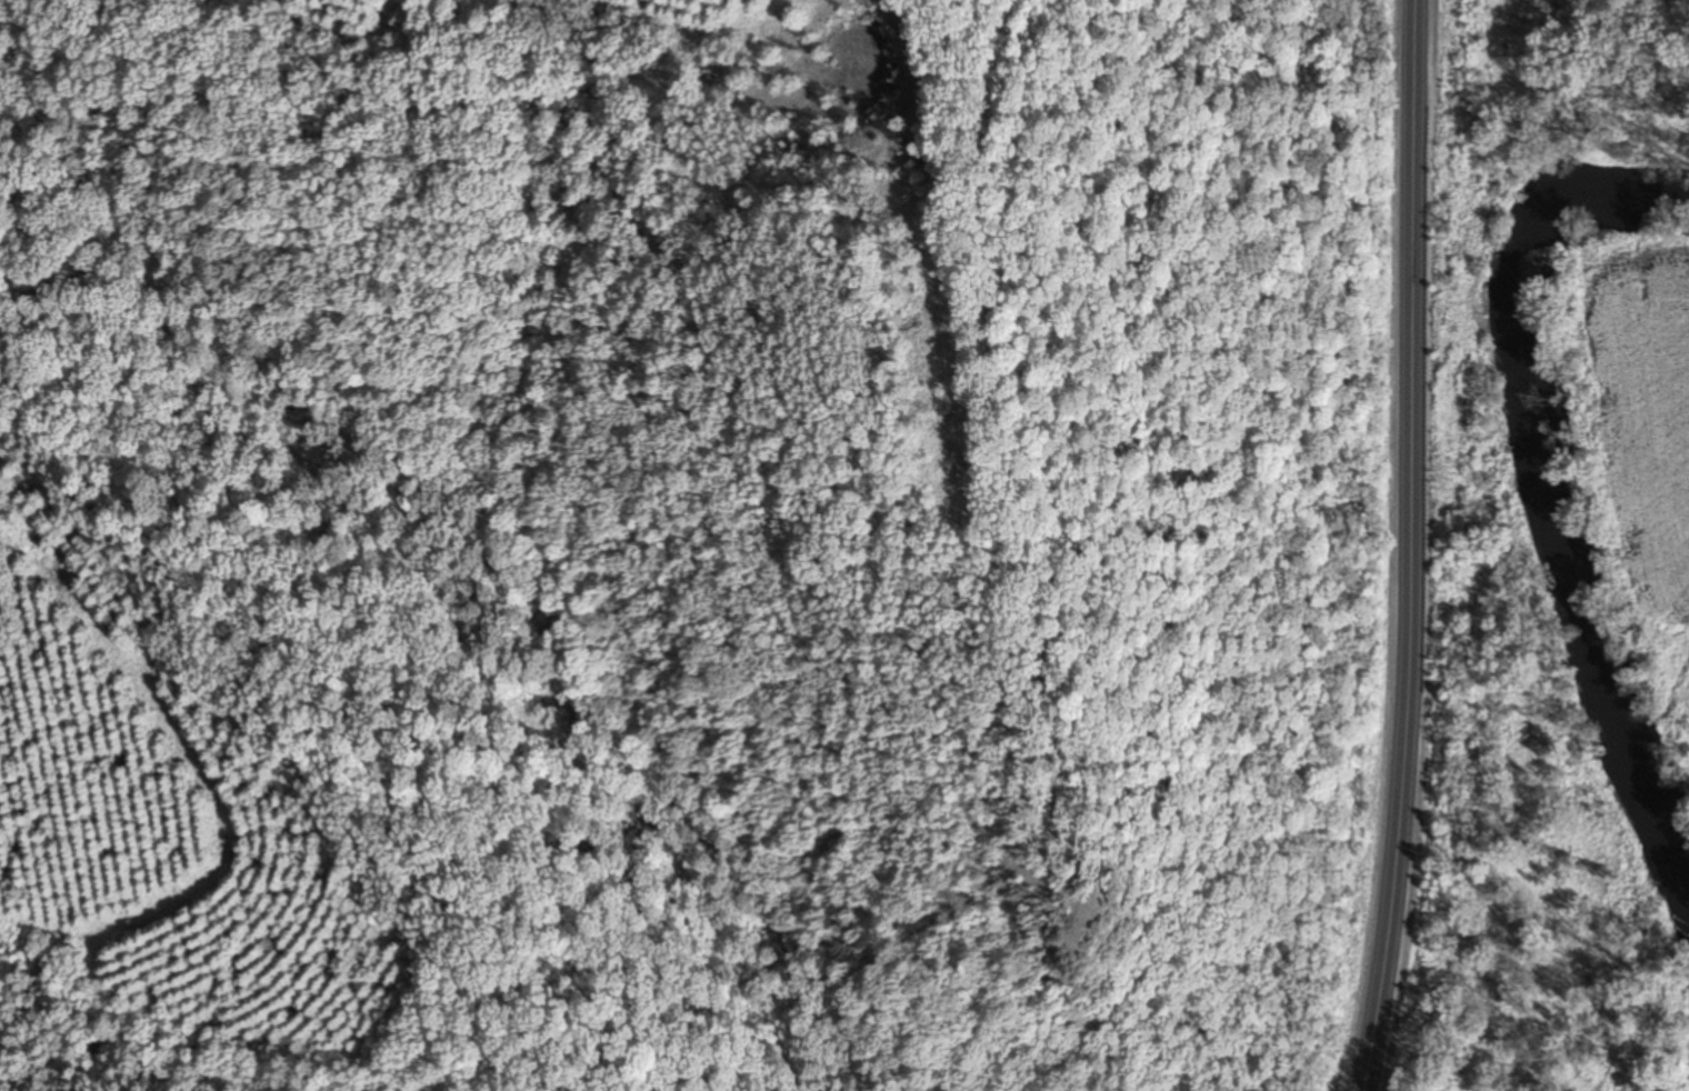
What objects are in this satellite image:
river: (1553, 486)
road: (1410, 547)

